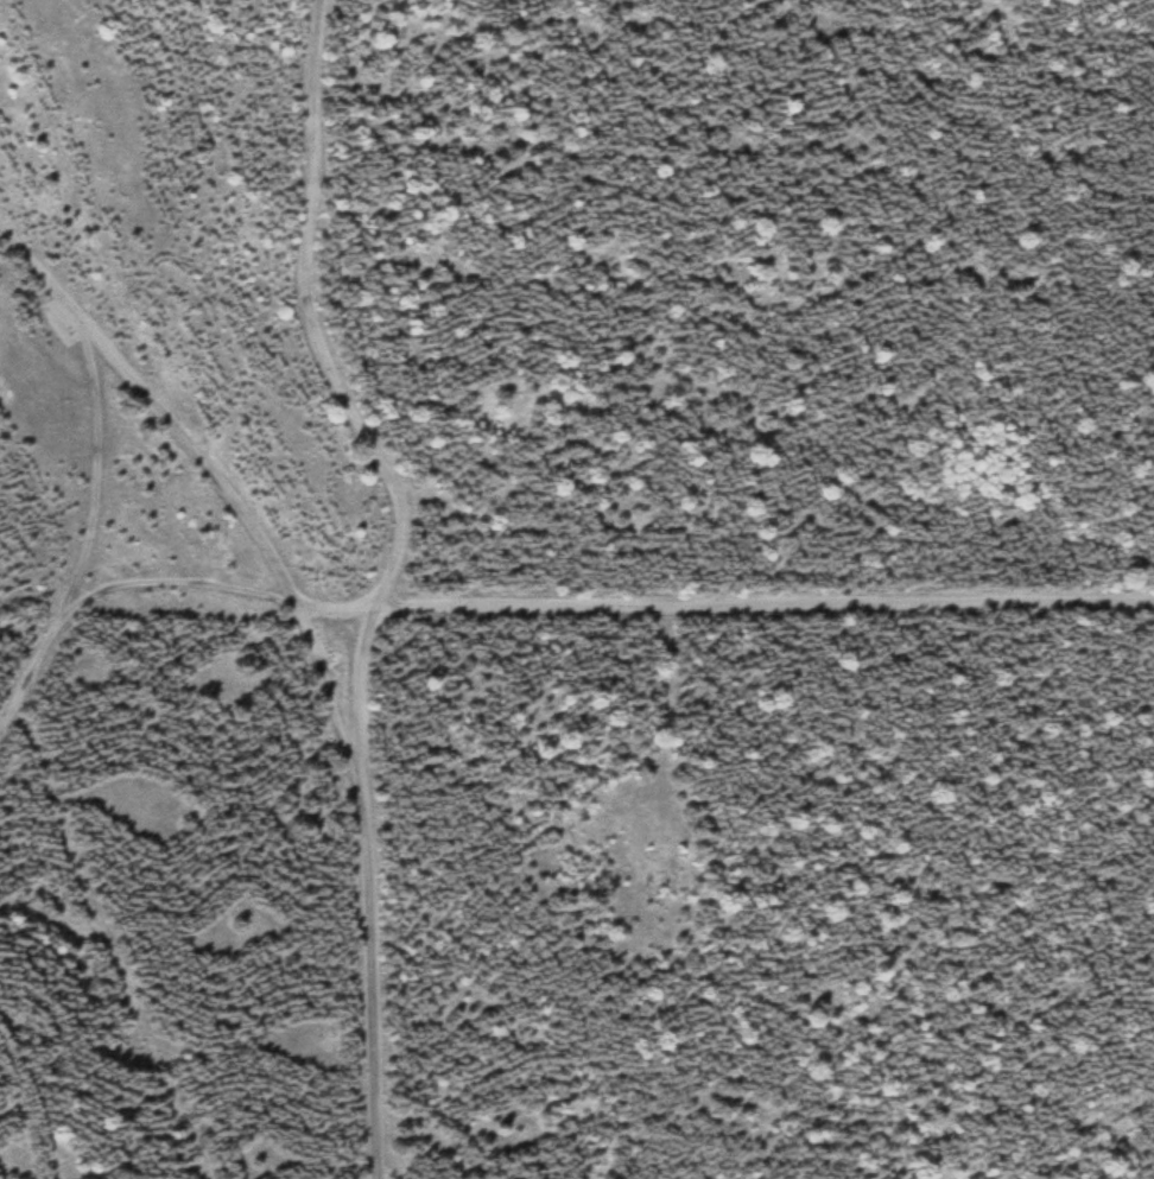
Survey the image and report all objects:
road: (26, 258)
road: (312, 319)
road: (94, 470)
road: (215, 473)
road: (121, 590)
road: (671, 608)
road: (338, 710)
road: (376, 991)

